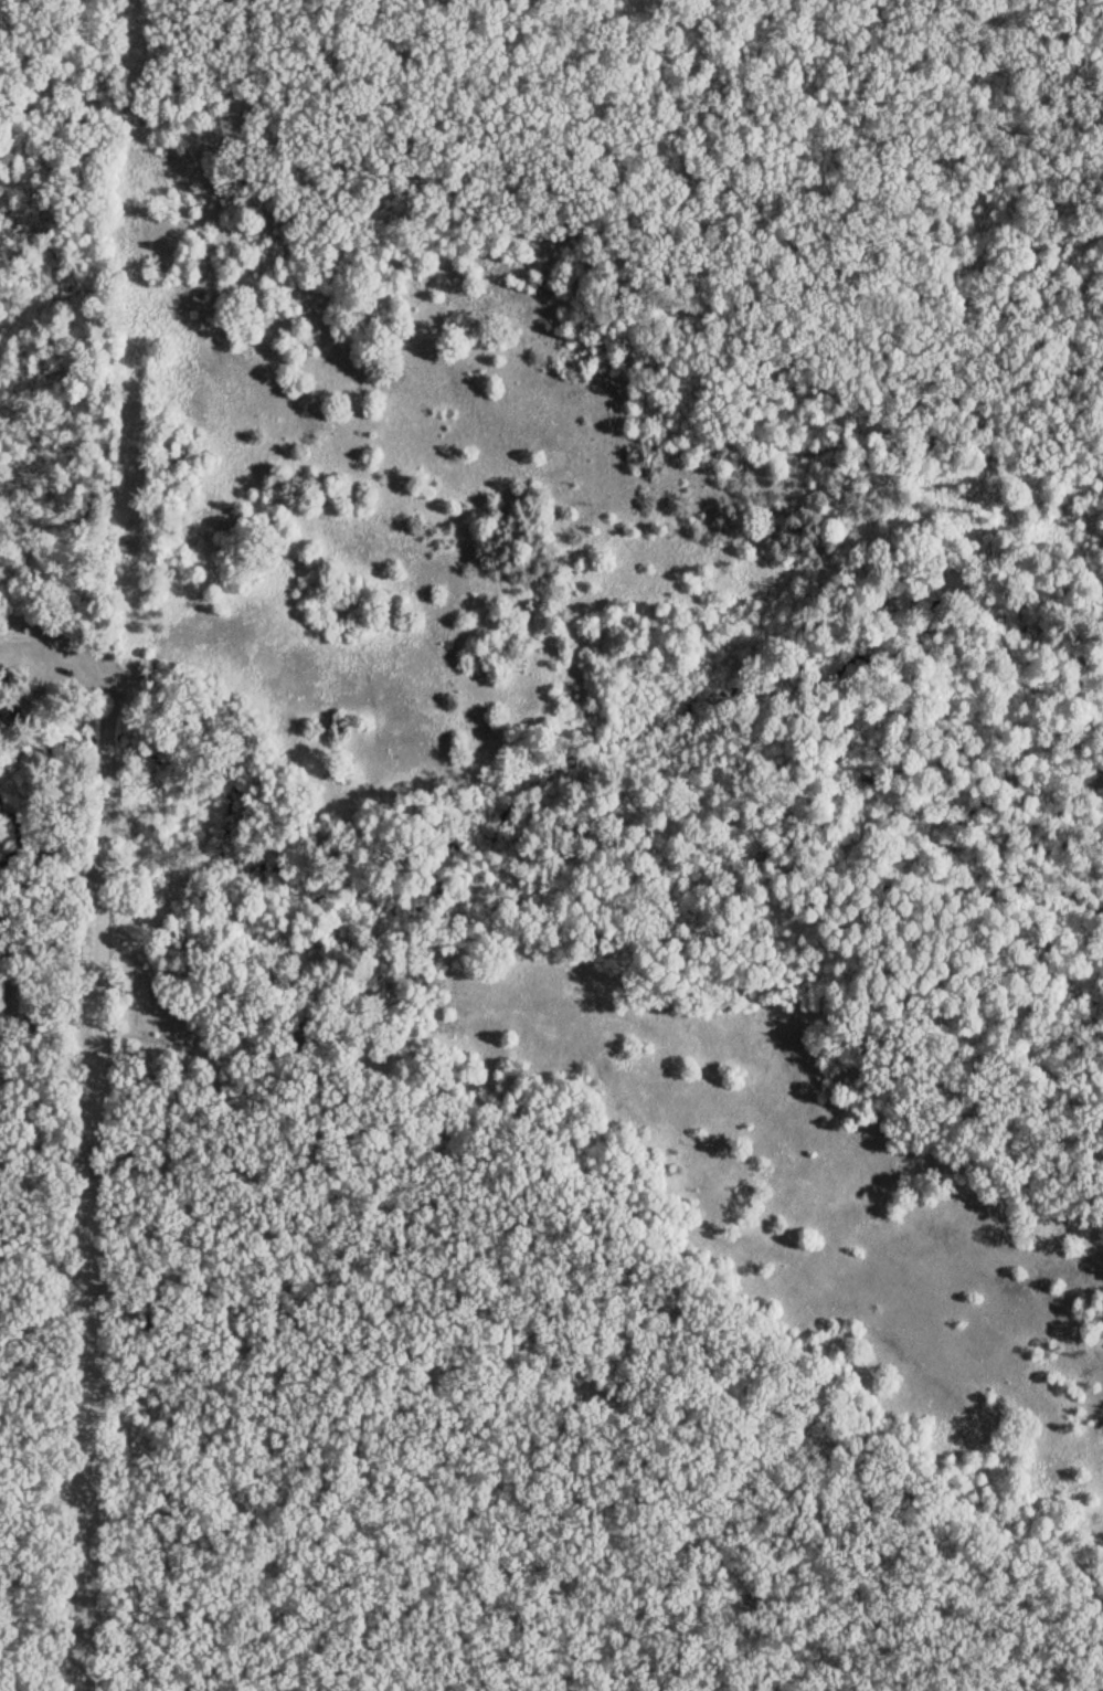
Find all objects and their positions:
building: (4, 716)
road: (88, 1269)
road: (44, 1285)

